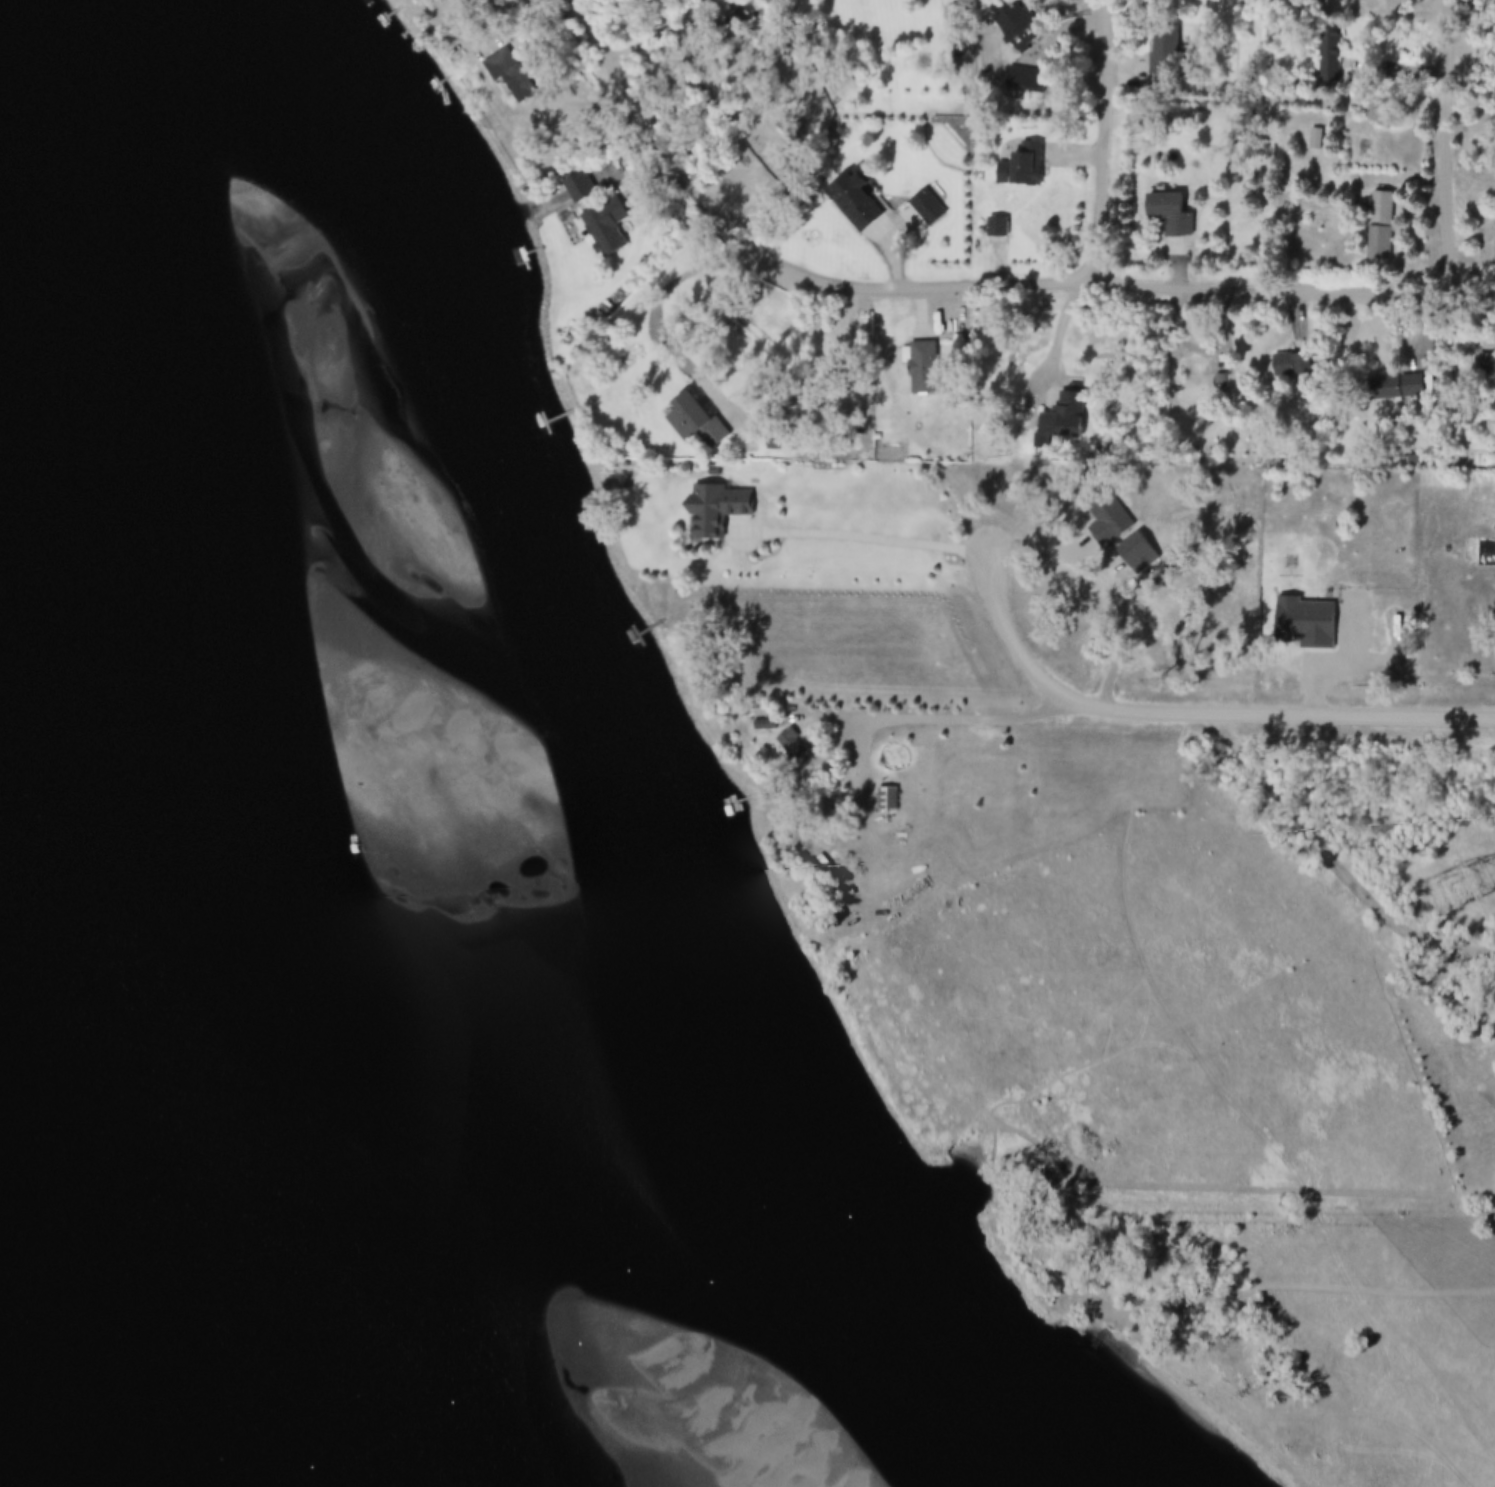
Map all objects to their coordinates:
building: (1010, 27)
building: (1162, 53)
building: (1333, 59)
building: (1024, 82)
building: (1314, 144)
road: (1104, 145)
road: (1446, 149)
building: (1021, 169)
building: (853, 202)
building: (925, 210)
building: (1174, 215)
building: (1383, 227)
building: (999, 228)
building: (605, 230)
road: (964, 290)
road: (1061, 336)
building: (913, 354)
building: (1292, 366)
building: (1488, 366)
building: (1410, 386)
building: (1075, 415)
building: (700, 423)
building: (788, 440)
building: (719, 510)
road: (1115, 531)
building: (767, 726)
road: (1226, 742)
building: (797, 750)
building: (889, 799)
power tower: (1446, 892)
river: (348, 1029)

